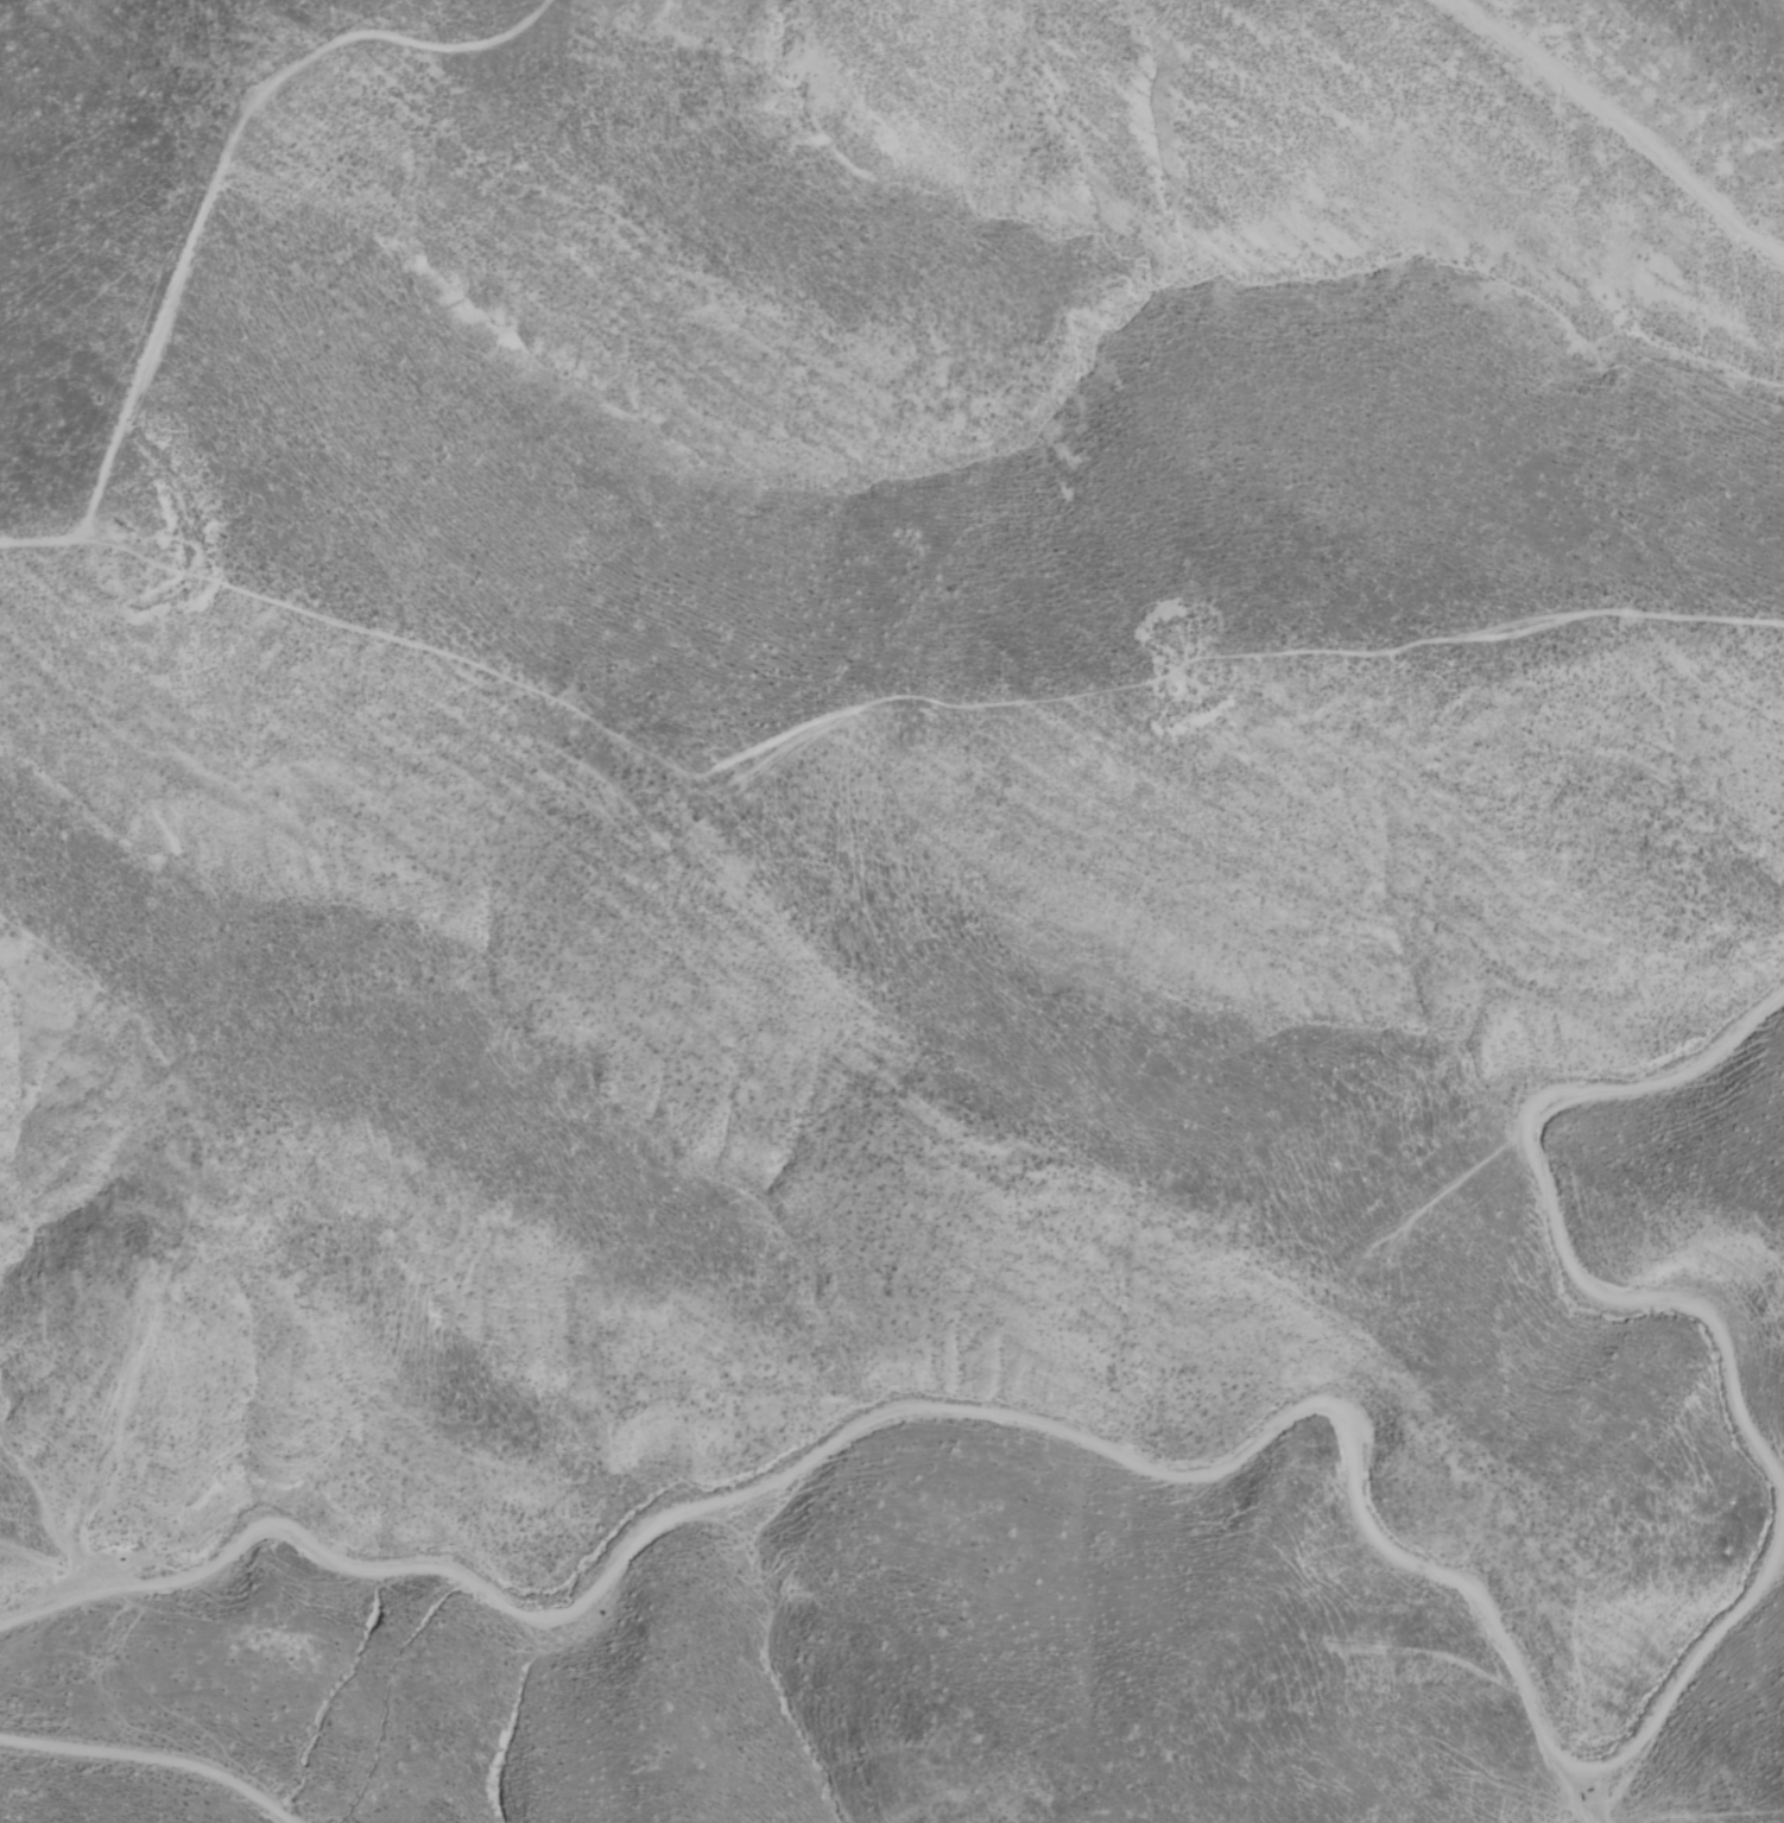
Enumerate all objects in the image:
road: (1618, 125)
road: (210, 200)
road: (1550, 1220)
road: (1020, 1419)
road: (156, 1758)

